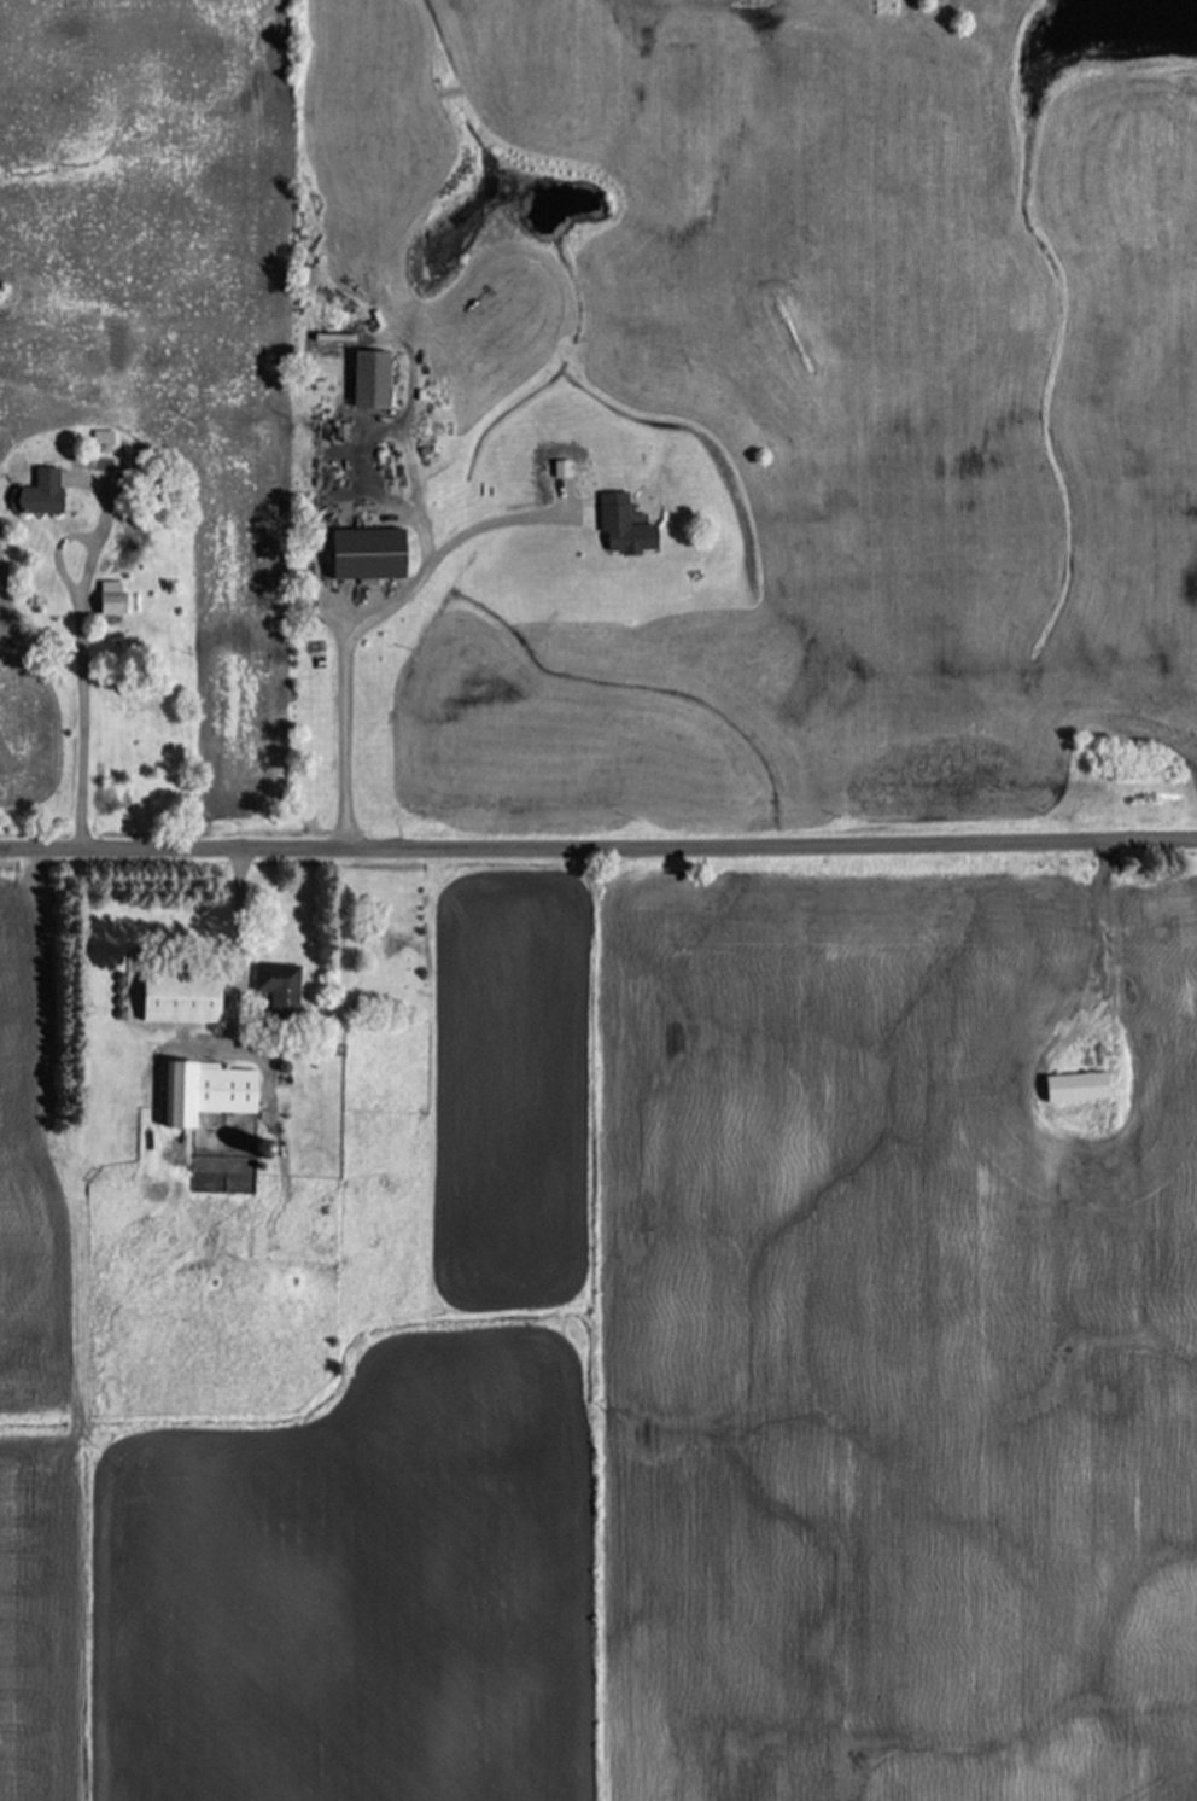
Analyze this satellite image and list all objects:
building: (37, 494)
building: (623, 532)
building: (362, 554)
building: (110, 605)
road: (372, 617)
road: (83, 660)
road: (598, 853)
building: (275, 993)
building: (177, 998)
building: (1072, 1089)
building: (203, 1091)

